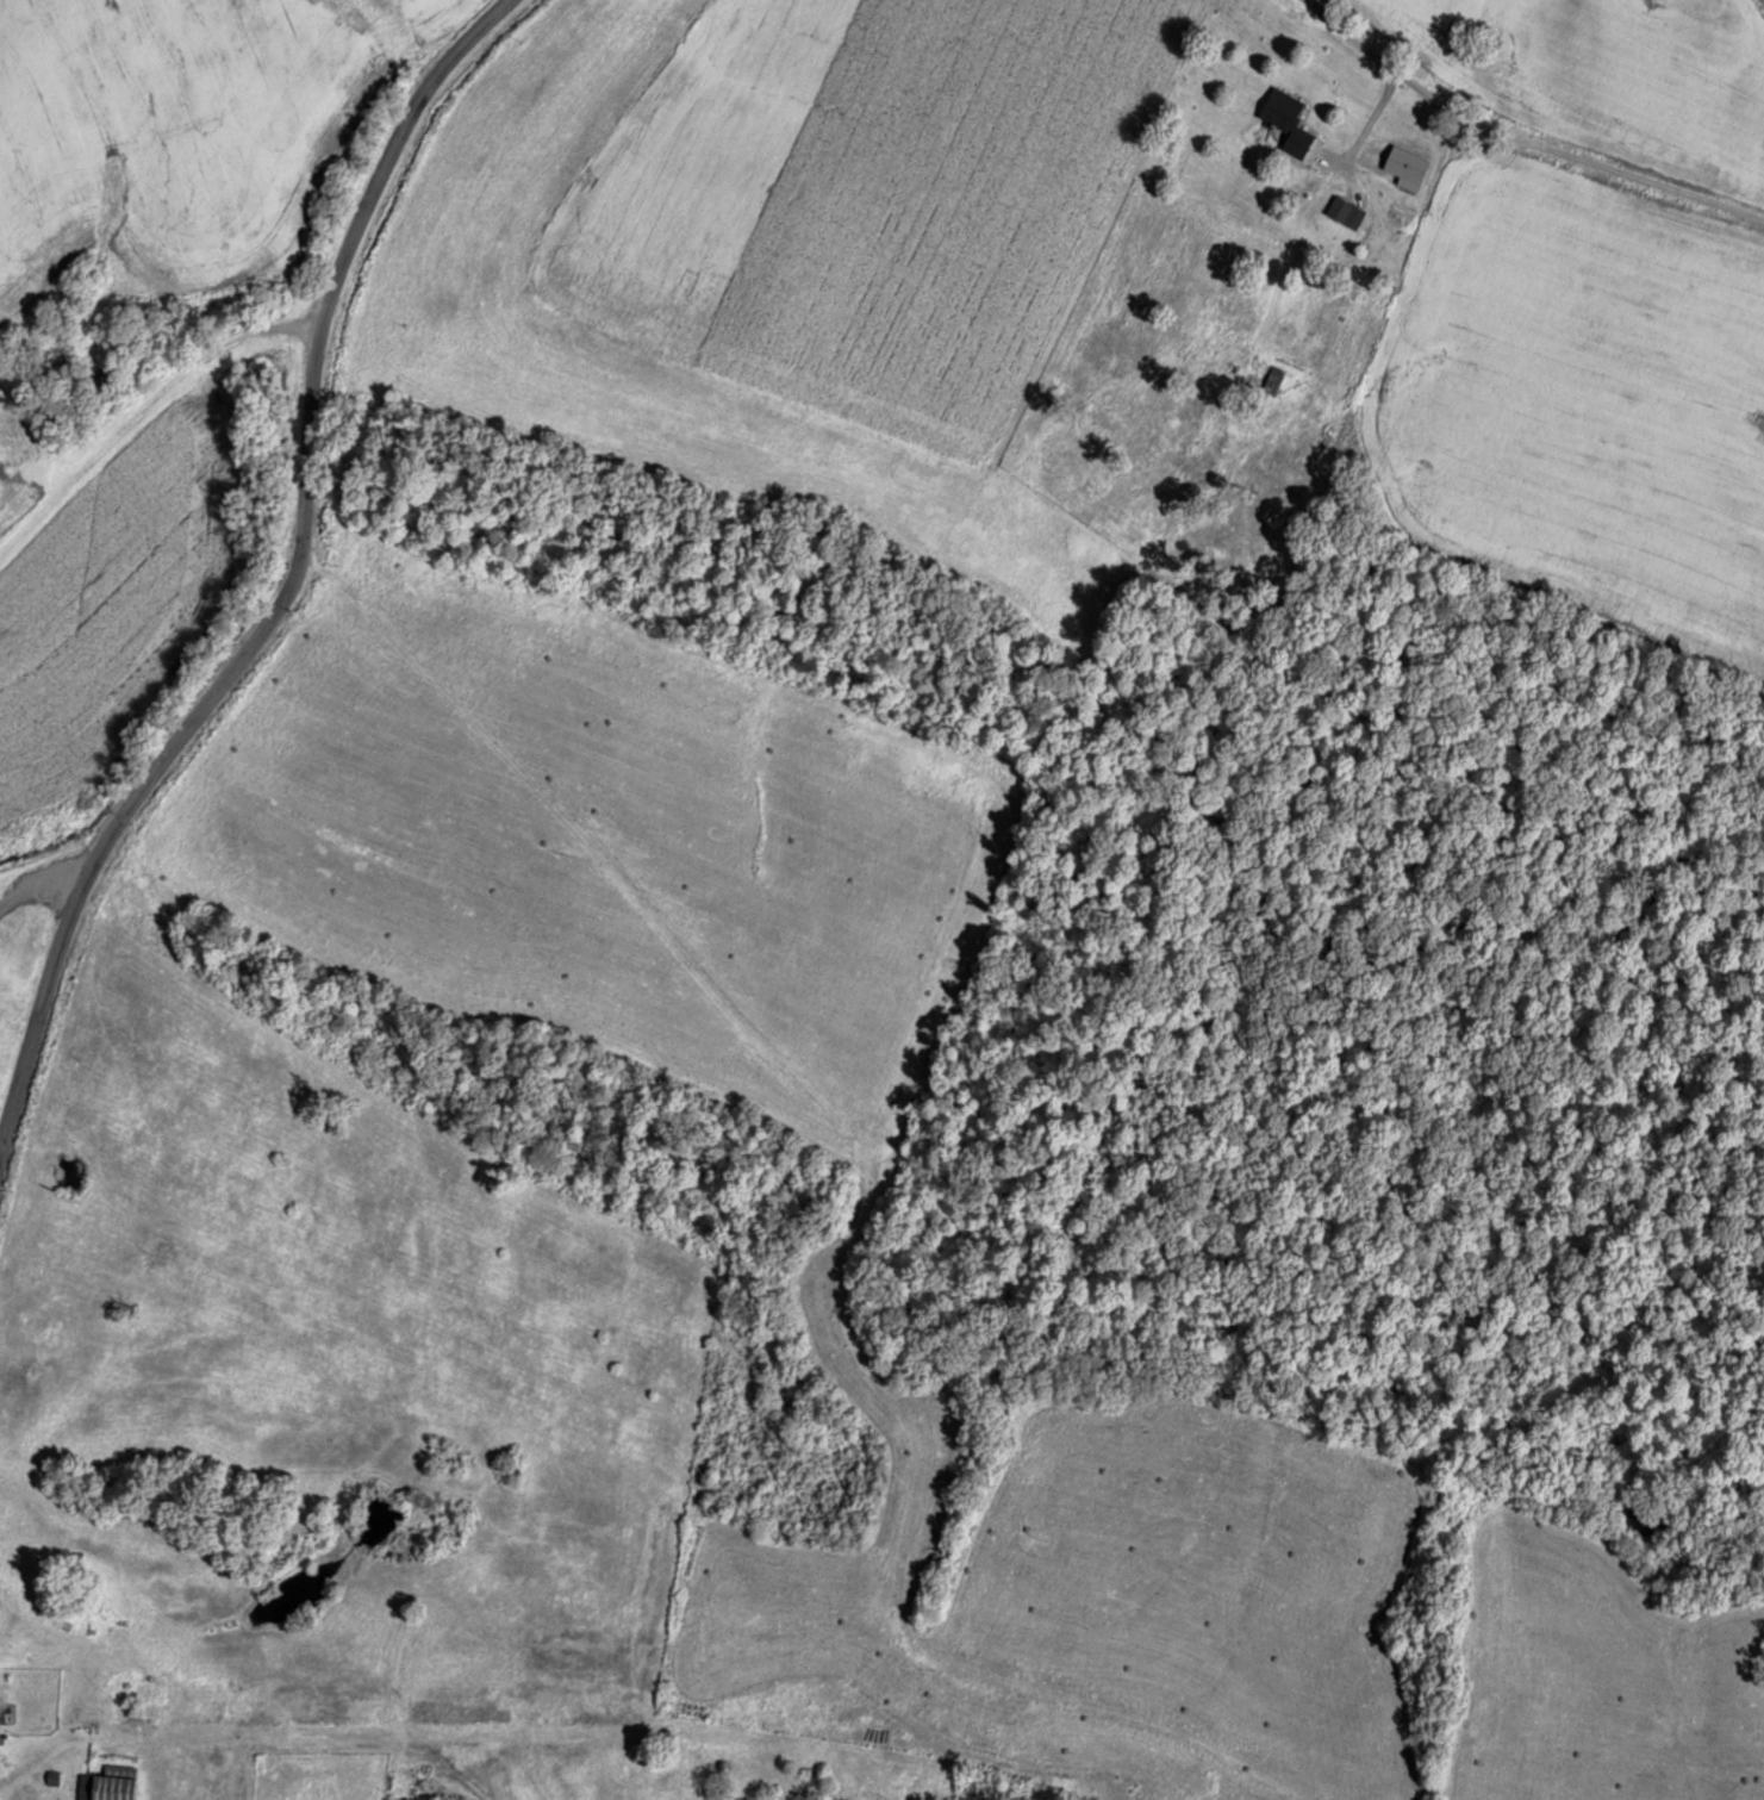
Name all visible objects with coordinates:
building: (1284, 120)
road: (1481, 174)
building: (1344, 212)
road: (1635, 477)
road: (278, 628)
building: (106, 1783)

